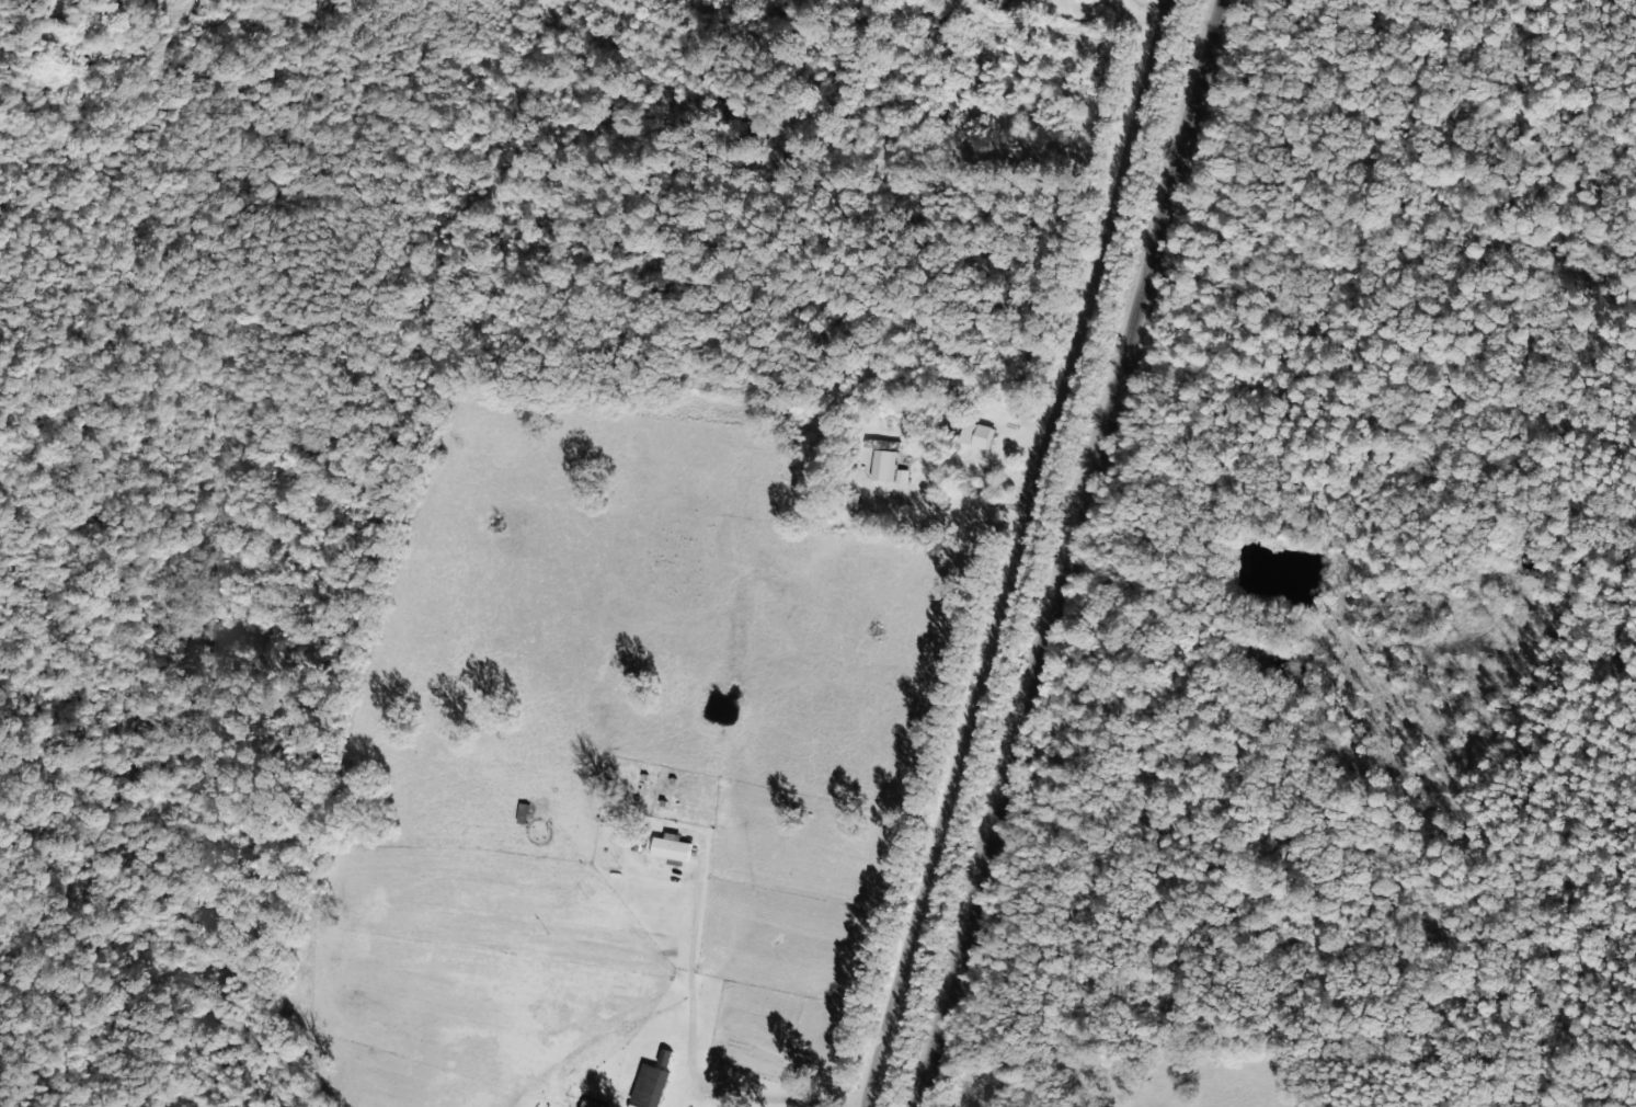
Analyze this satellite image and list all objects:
building: (974, 434)
building: (883, 464)
road: (1000, 470)
road: (1015, 553)
railway: (1066, 553)
building: (520, 811)
building: (670, 845)
building: (649, 1084)
building: (590, 1103)

